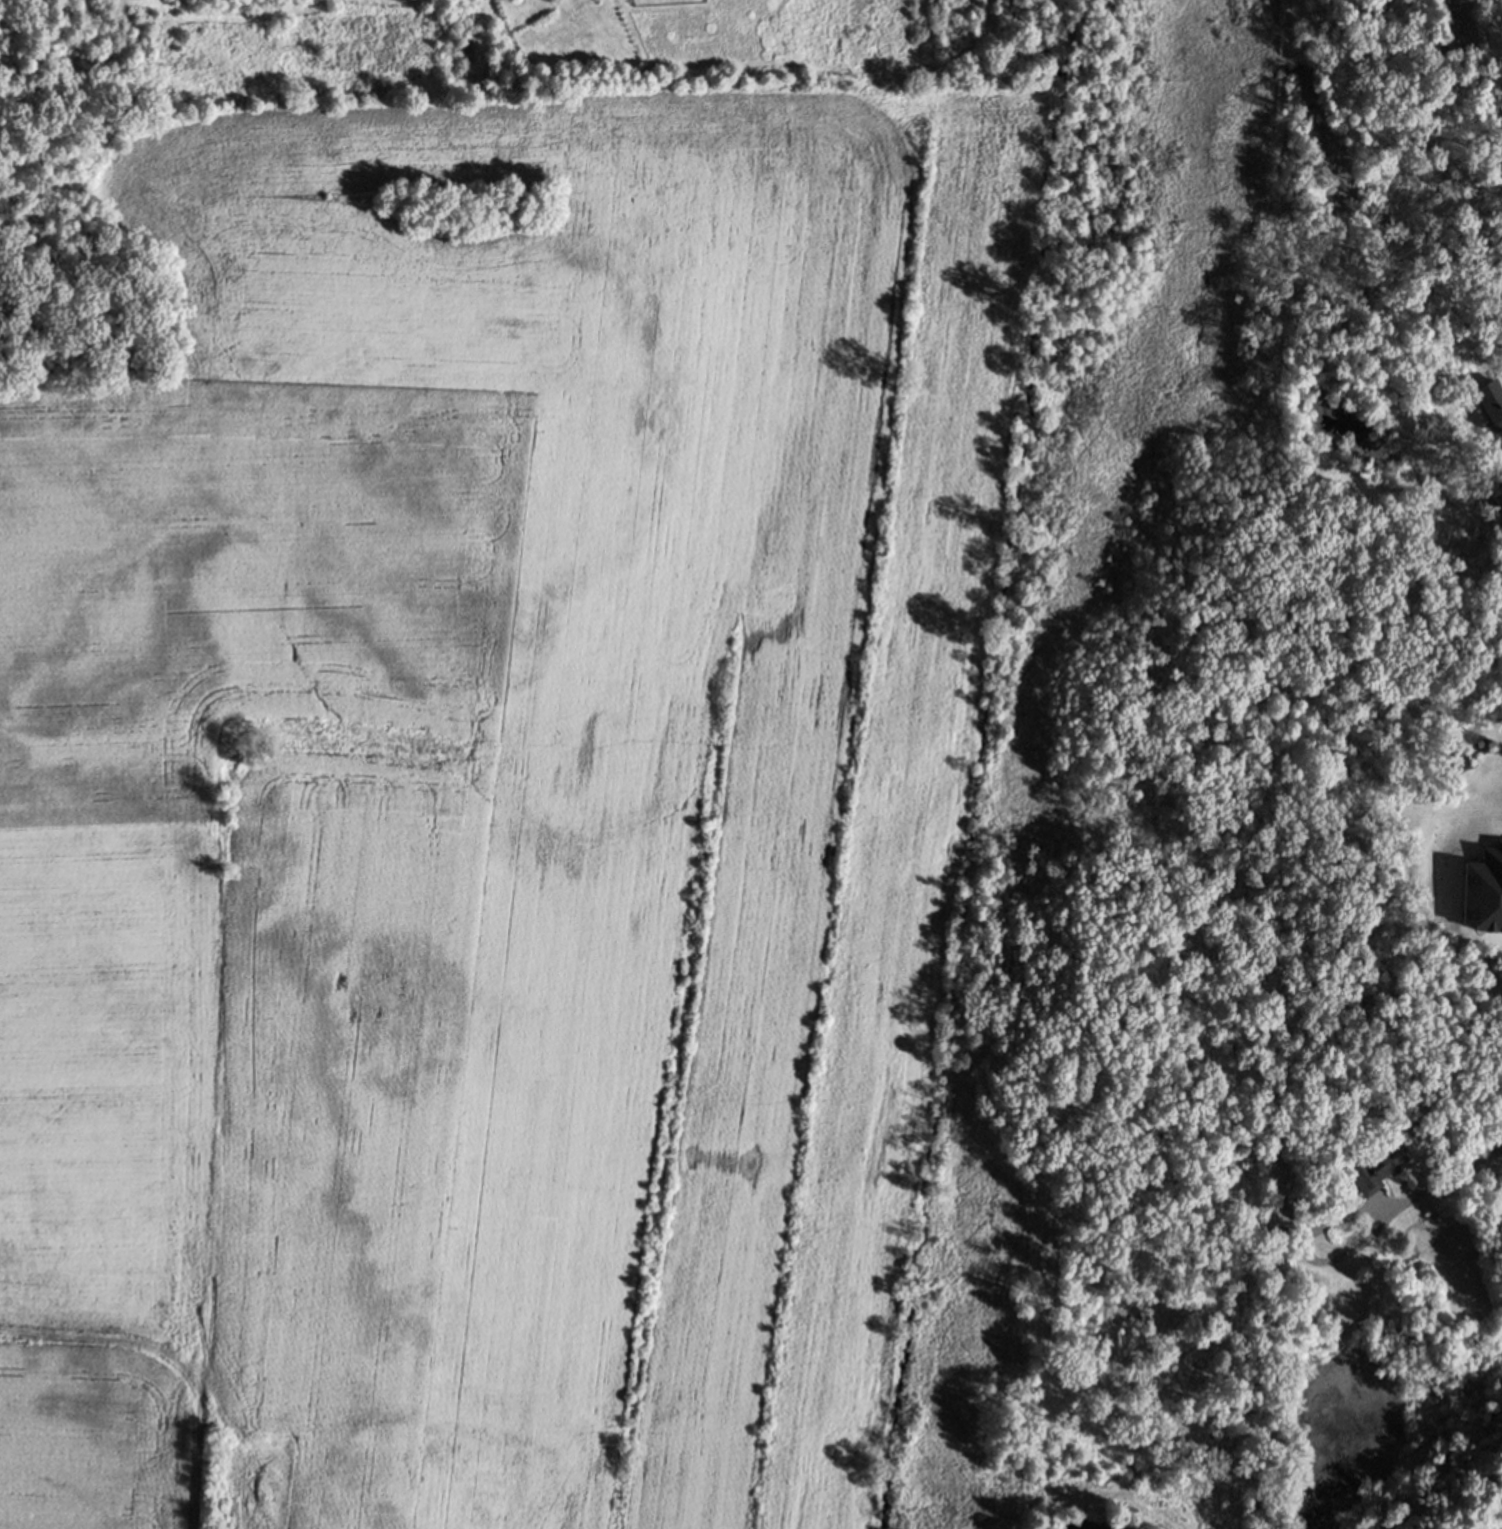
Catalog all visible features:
building: (1495, 106)
building: (1490, 400)
building: (1483, 886)
building: (1373, 1169)
road: (1441, 1184)
building: (1276, 1232)
road: (1307, 1252)

